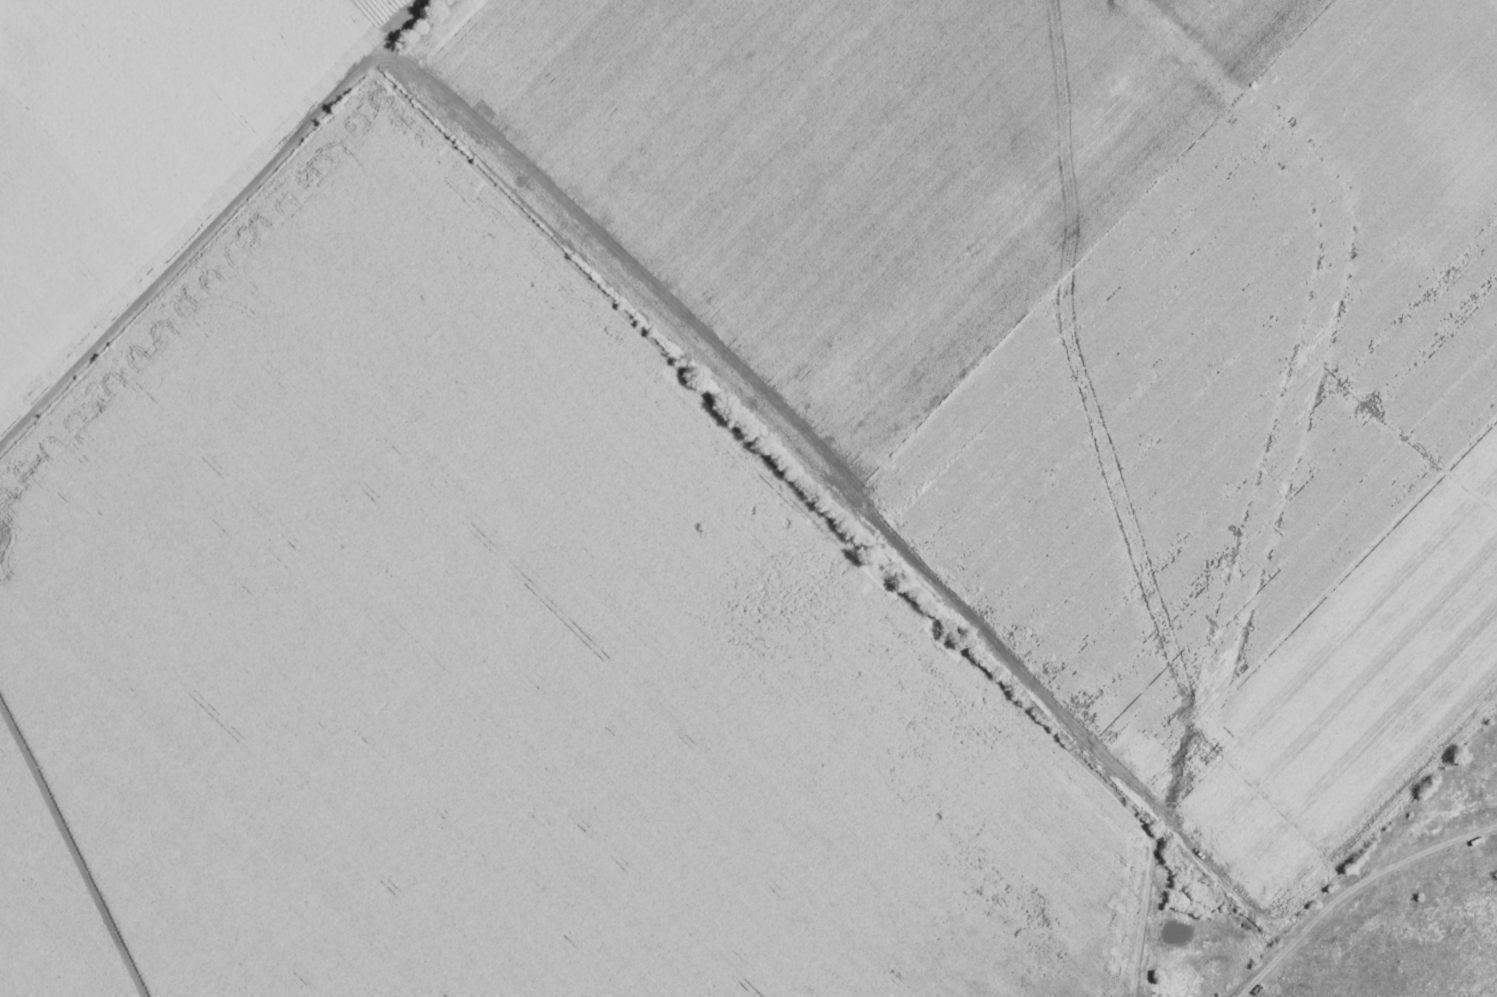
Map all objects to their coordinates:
road: (1351, 885)

